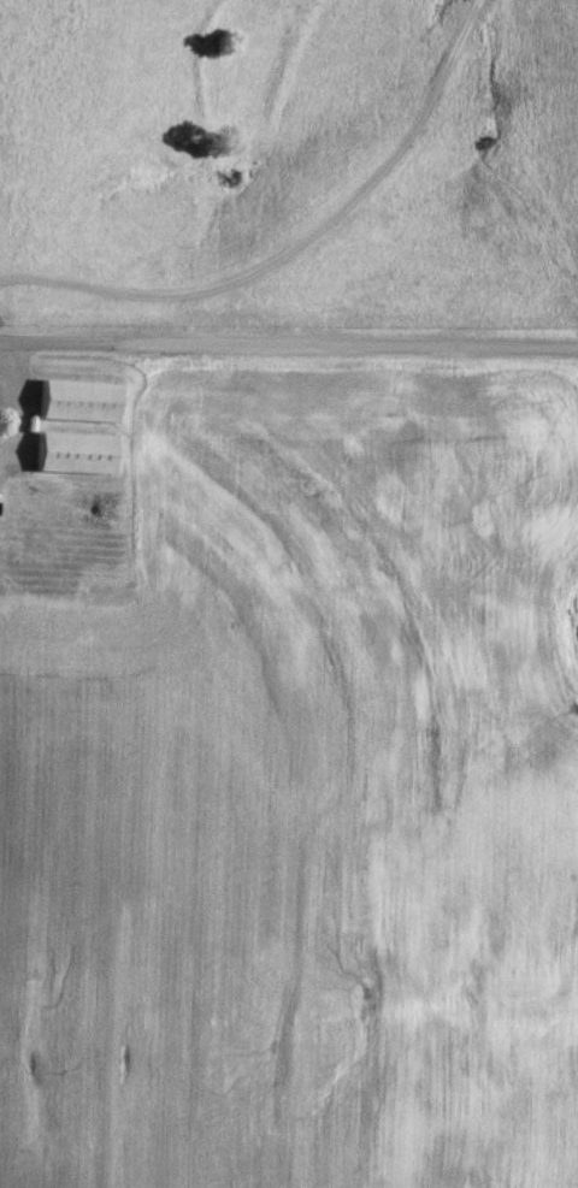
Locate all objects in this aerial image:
road: (288, 342)
building: (81, 398)
building: (79, 451)

